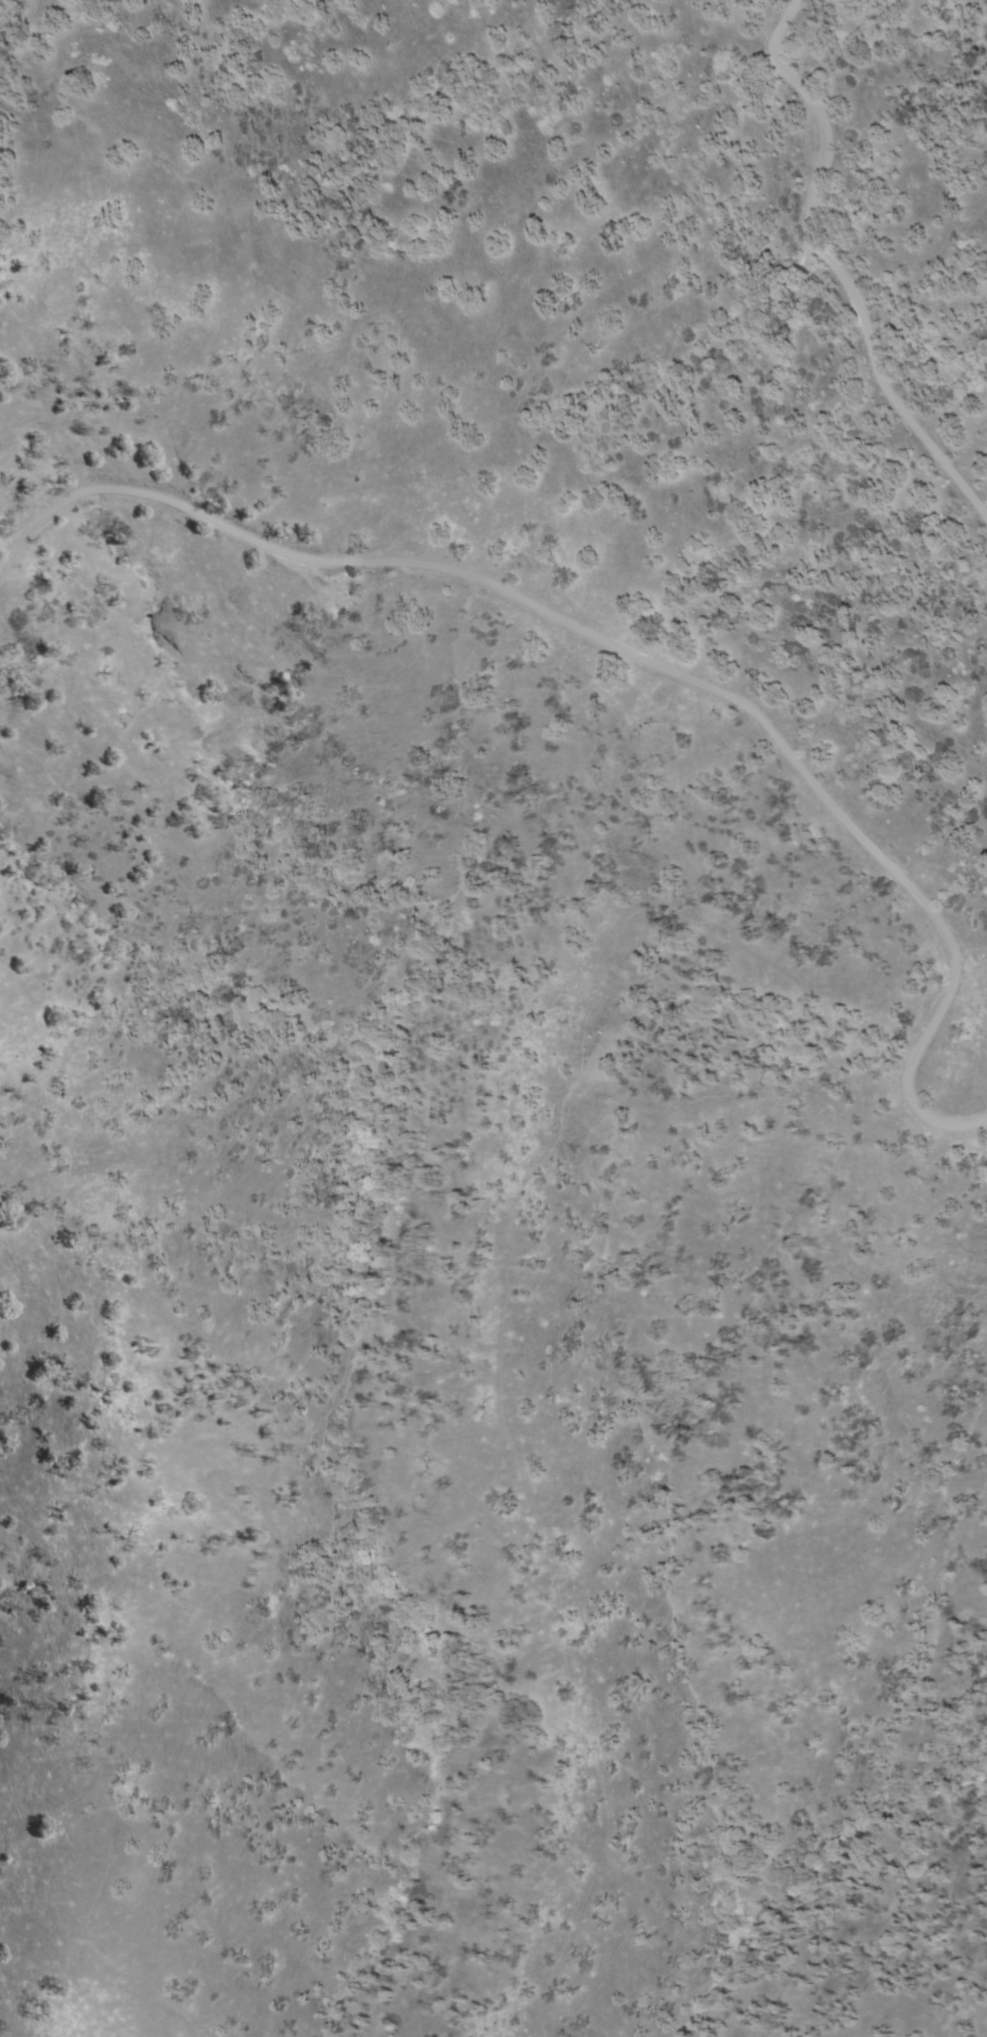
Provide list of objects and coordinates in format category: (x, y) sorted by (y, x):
road: (835, 267)
road: (631, 652)

